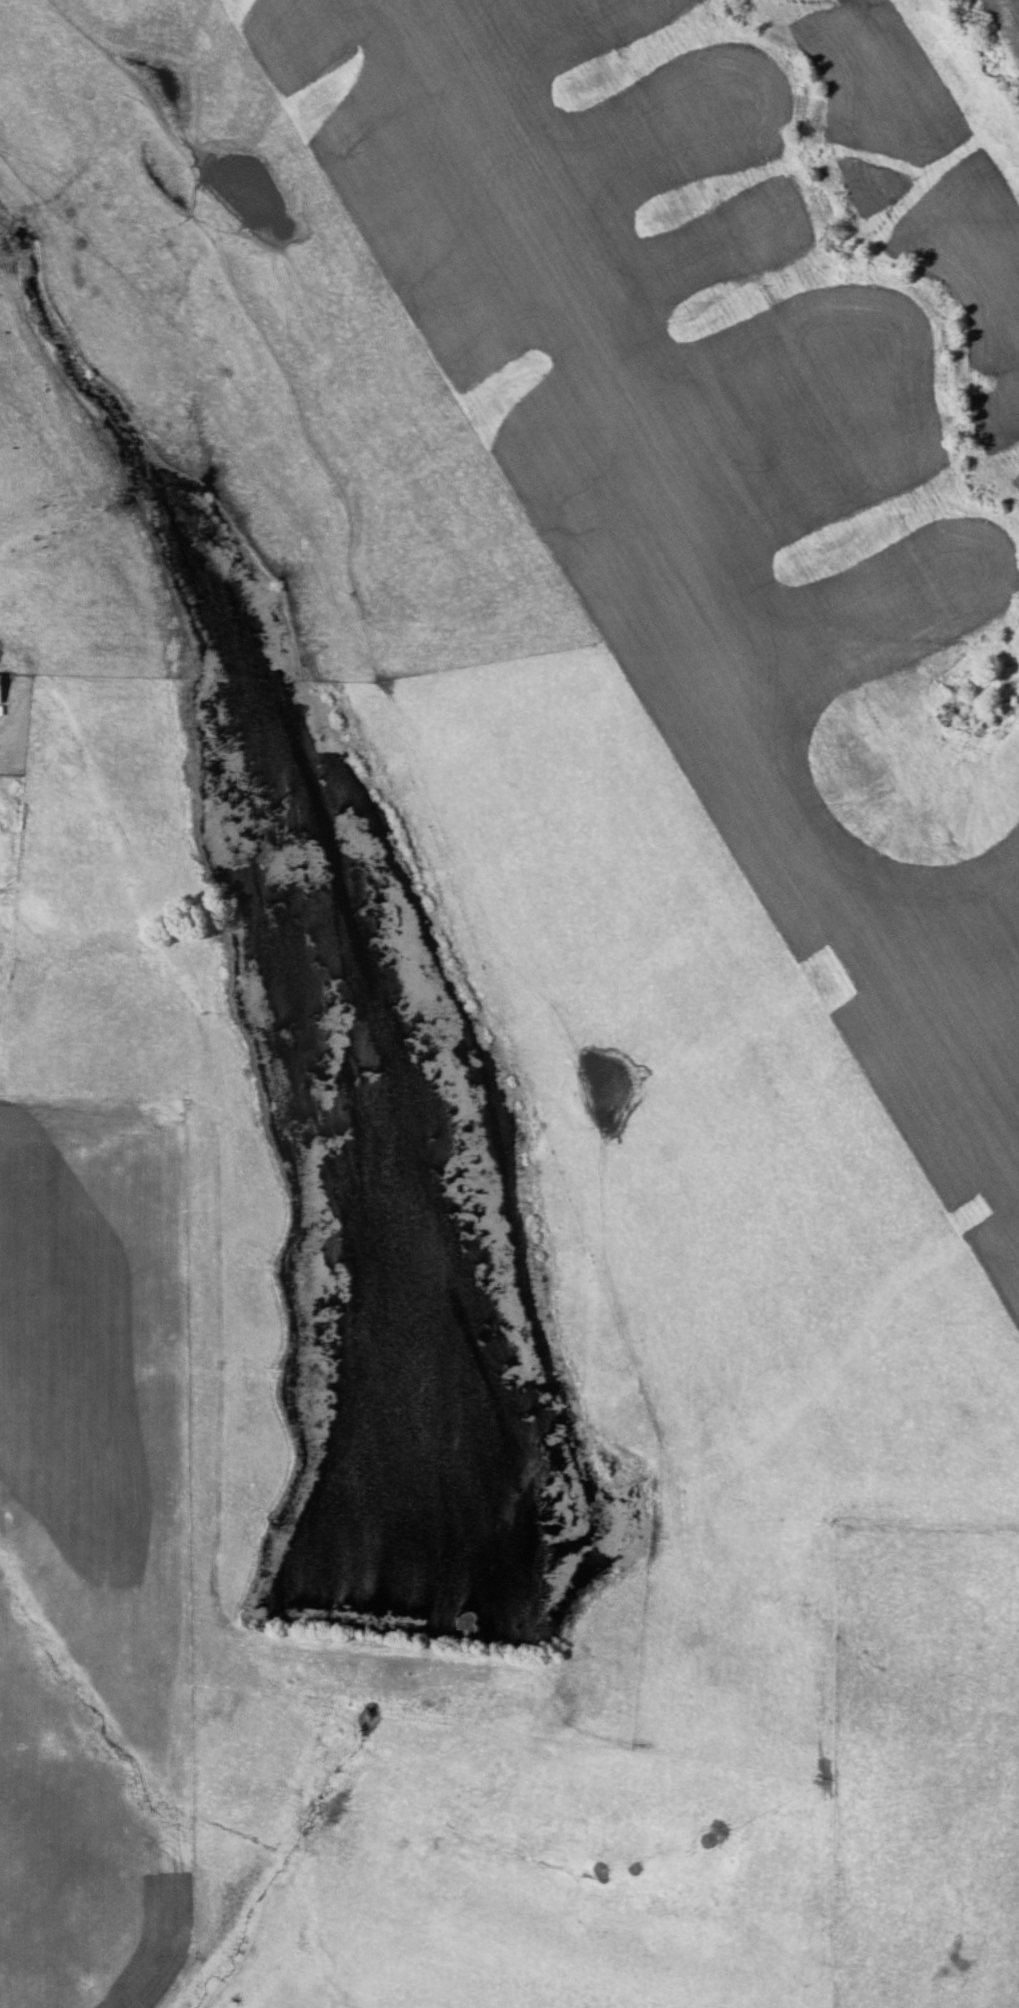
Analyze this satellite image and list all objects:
building: (0, 676)

